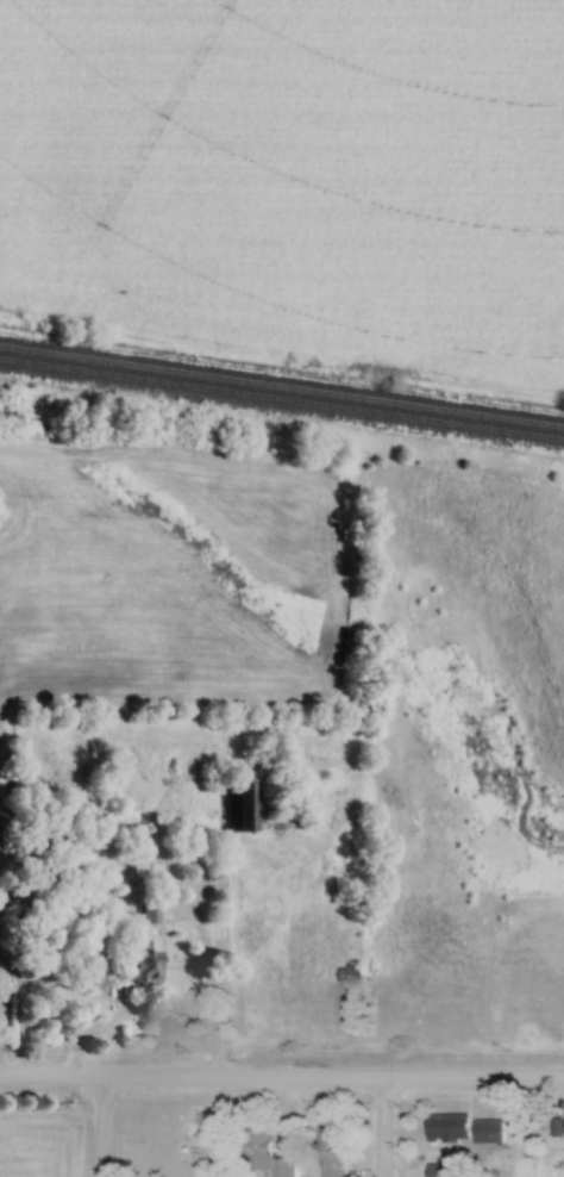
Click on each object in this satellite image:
railway: (282, 385)
railway: (281, 399)
crop: (173, 571)
building: (245, 805)
building: (148, 911)
building: (143, 965)
road: (142, 1010)
road: (282, 1082)
building: (563, 1127)
road: (95, 1129)
road: (376, 1129)
building: (465, 1129)
building: (332, 1151)
building: (269, 1156)
building: (441, 1167)

